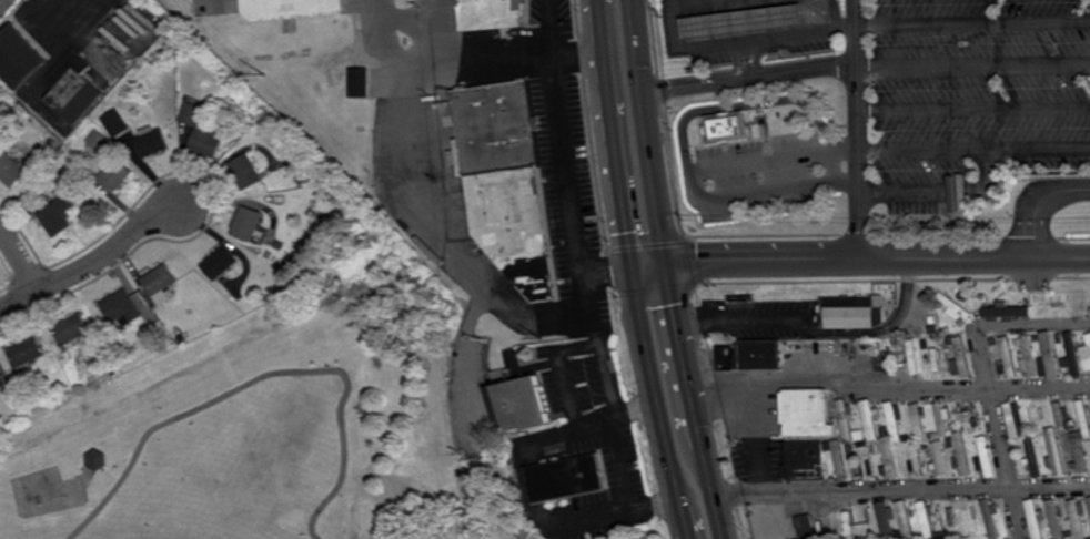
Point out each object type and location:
building: (230, 8)
building: (238, 8)
building: (290, 9)
building: (493, 14)
road: (820, 14)
road: (436, 21)
building: (740, 21)
gas station: (740, 21)
road: (973, 23)
road: (410, 29)
road: (800, 33)
road: (395, 41)
road: (746, 51)
building: (775, 54)
building: (21, 57)
road: (501, 60)
road: (973, 64)
road: (804, 71)
power tower: (258, 73)
building: (359, 82)
building: (73, 87)
road: (858, 98)
road: (746, 106)
road: (973, 108)
building: (115, 124)
building: (725, 129)
road: (613, 131)
road: (650, 131)
building: (201, 132)
building: (98, 140)
building: (52, 142)
building: (151, 143)
road: (848, 148)
road: (1039, 151)
road: (924, 152)
road: (764, 161)
building: (10, 171)
building: (112, 172)
building: (245, 172)
building: (300, 180)
building: (506, 182)
road: (764, 192)
road: (942, 195)
road: (422, 197)
road: (1037, 203)
building: (59, 215)
building: (248, 224)
road: (860, 227)
road: (582, 257)
road: (21, 258)
road: (861, 260)
traffic signals: (634, 262)
traffic signals: (667, 262)
road: (92, 263)
building: (220, 264)
building: (161, 283)
building: (962, 296)
building: (1020, 301)
building: (952, 305)
building: (123, 307)
building: (1006, 309)
building: (852, 311)
building: (1035, 311)
building: (73, 327)
road: (1032, 327)
building: (946, 329)
road: (818, 332)
road: (677, 333)
building: (1060, 337)
building: (182, 338)
building: (1088, 338)
power tower: (538, 339)
building: (950, 339)
building: (1035, 339)
building: (1016, 342)
building: (896, 343)
building: (995, 343)
building: (27, 350)
building: (1083, 352)
building: (758, 353)
building: (1050, 354)
building: (1072, 354)
building: (911, 356)
road: (462, 357)
building: (1007, 357)
building: (960, 358)
building: (1028, 358)
building: (938, 359)
building: (1087, 363)
building: (111, 369)
road: (264, 377)
building: (2, 378)
road: (655, 382)
road: (888, 388)
building: (522, 403)
park: (281, 409)
road: (638, 410)
building: (806, 411)
building: (23, 414)
building: (1059, 415)
building: (870, 417)
building: (918, 418)
building: (941, 418)
building: (1083, 418)
building: (845, 419)
building: (895, 423)
building: (1015, 423)
road: (697, 426)
building: (953, 426)
building: (884, 430)
building: (858, 433)
road: (999, 434)
building: (933, 436)
building: (969, 437)
road: (756, 438)
building: (927, 446)
building: (827, 447)
building: (850, 448)
building: (1054, 451)
building: (961, 454)
building: (983, 454)
building: (1079, 454)
building: (889, 457)
building: (914, 458)
building: (1033, 458)
building: (839, 459)
building: (938, 459)
building: (804, 460)
building: (94, 461)
building: (864, 461)
road: (524, 471)
building: (567, 477)
road: (900, 490)
road: (711, 492)
road: (85, 496)
building: (1089, 500)
road: (683, 513)
building: (991, 517)
building: (1078, 517)
building: (968, 518)
building: (1036, 518)
building: (905, 519)
building: (926, 519)
building: (1054, 519)
building: (885, 520)
building: (936, 521)
road: (51, 522)
building: (848, 523)
building: (814, 526)
road: (686, 532)
building: (899, 535)

